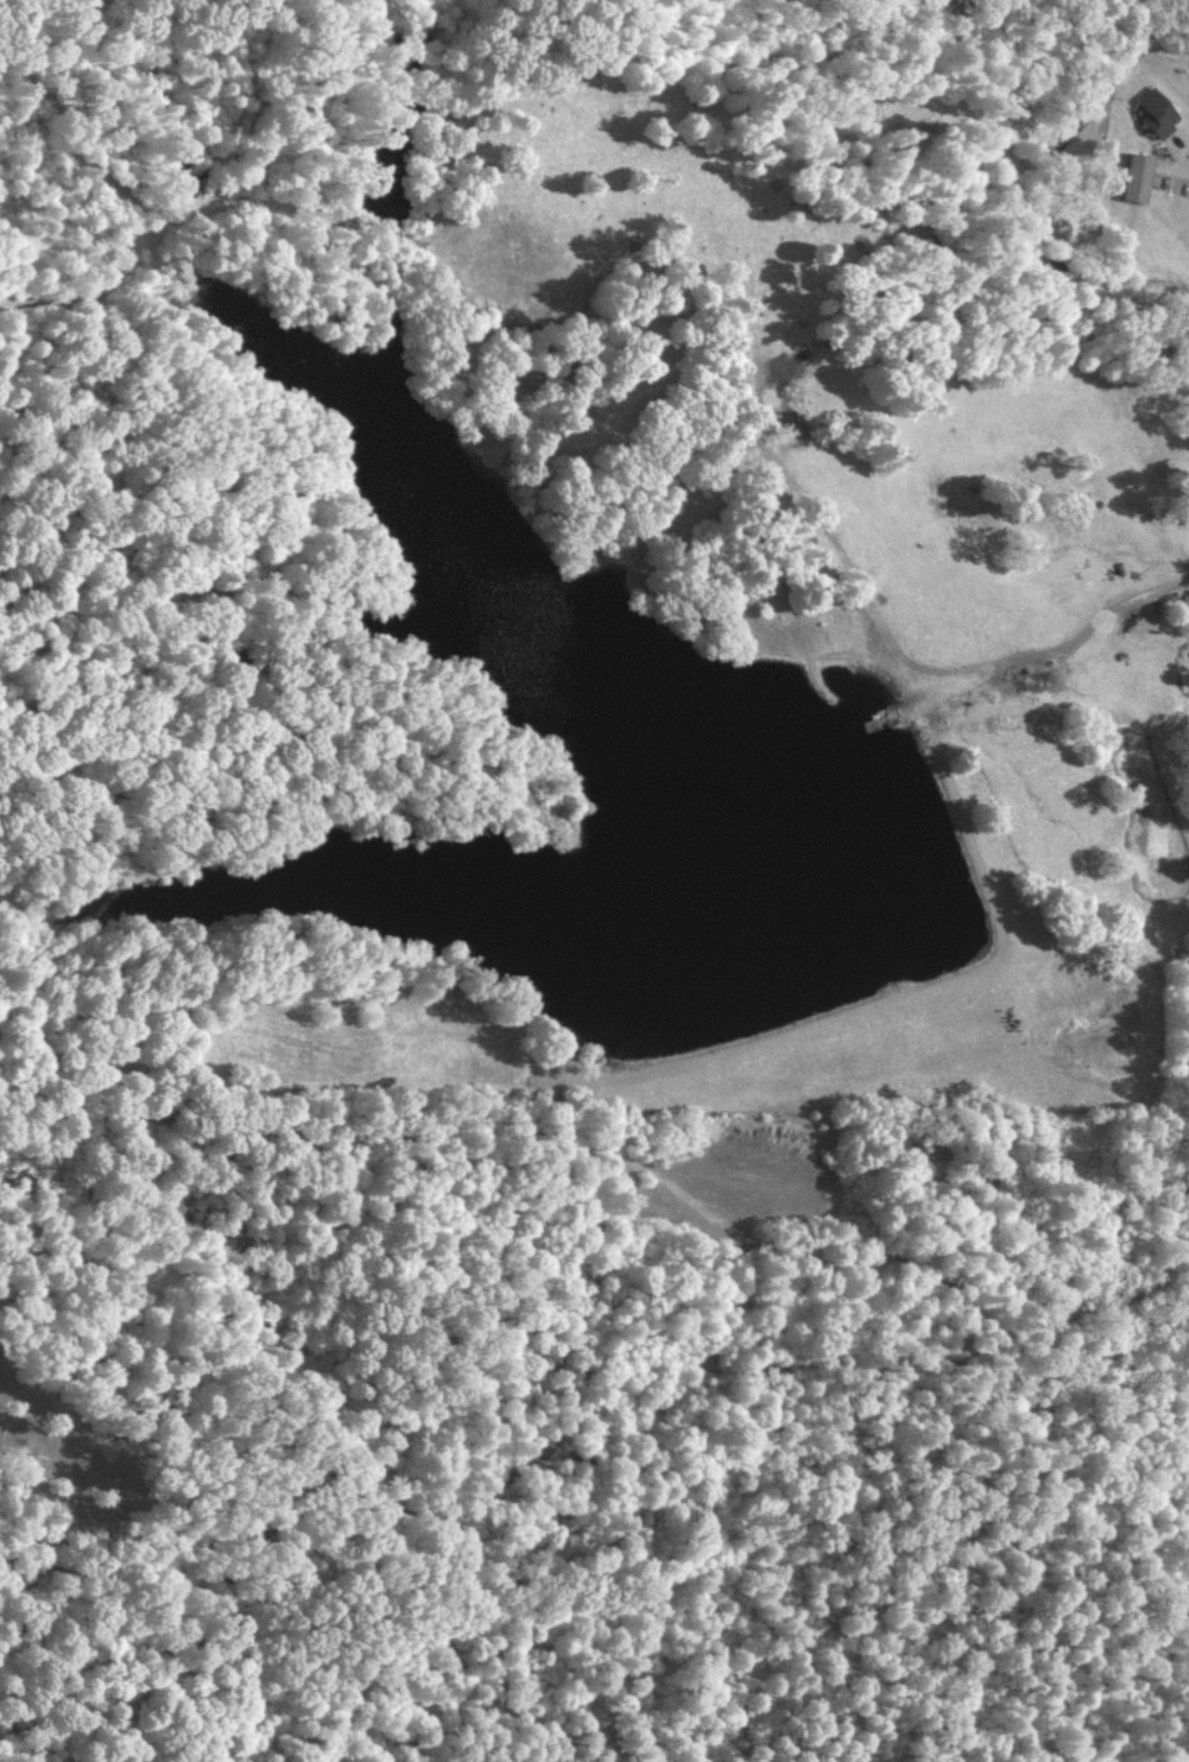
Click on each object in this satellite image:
building: (1157, 110)
building: (1137, 177)

